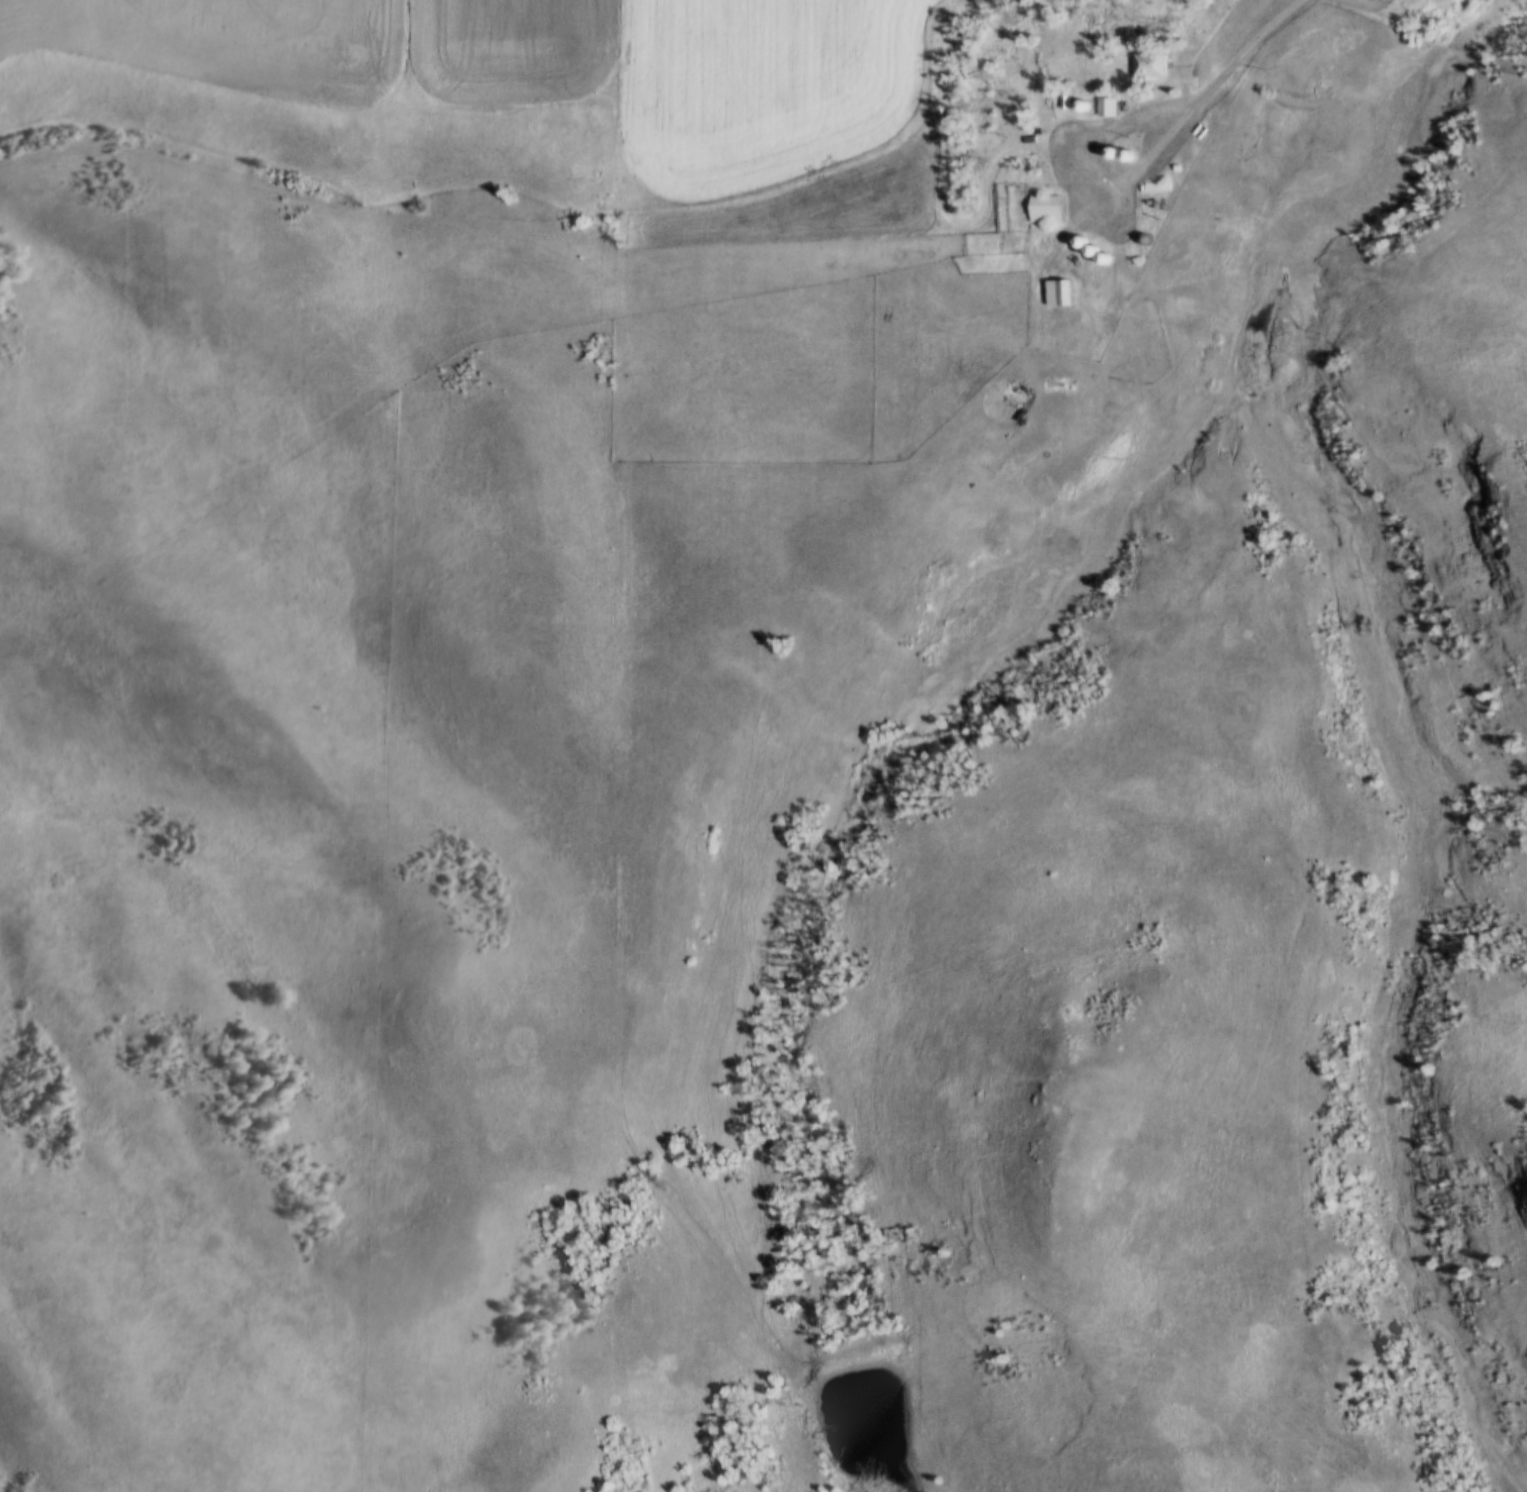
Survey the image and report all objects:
road: (1247, 47)
building: (1152, 67)
building: (1108, 109)
road: (1111, 156)
building: (1160, 188)
building: (1048, 210)
building: (1062, 294)

